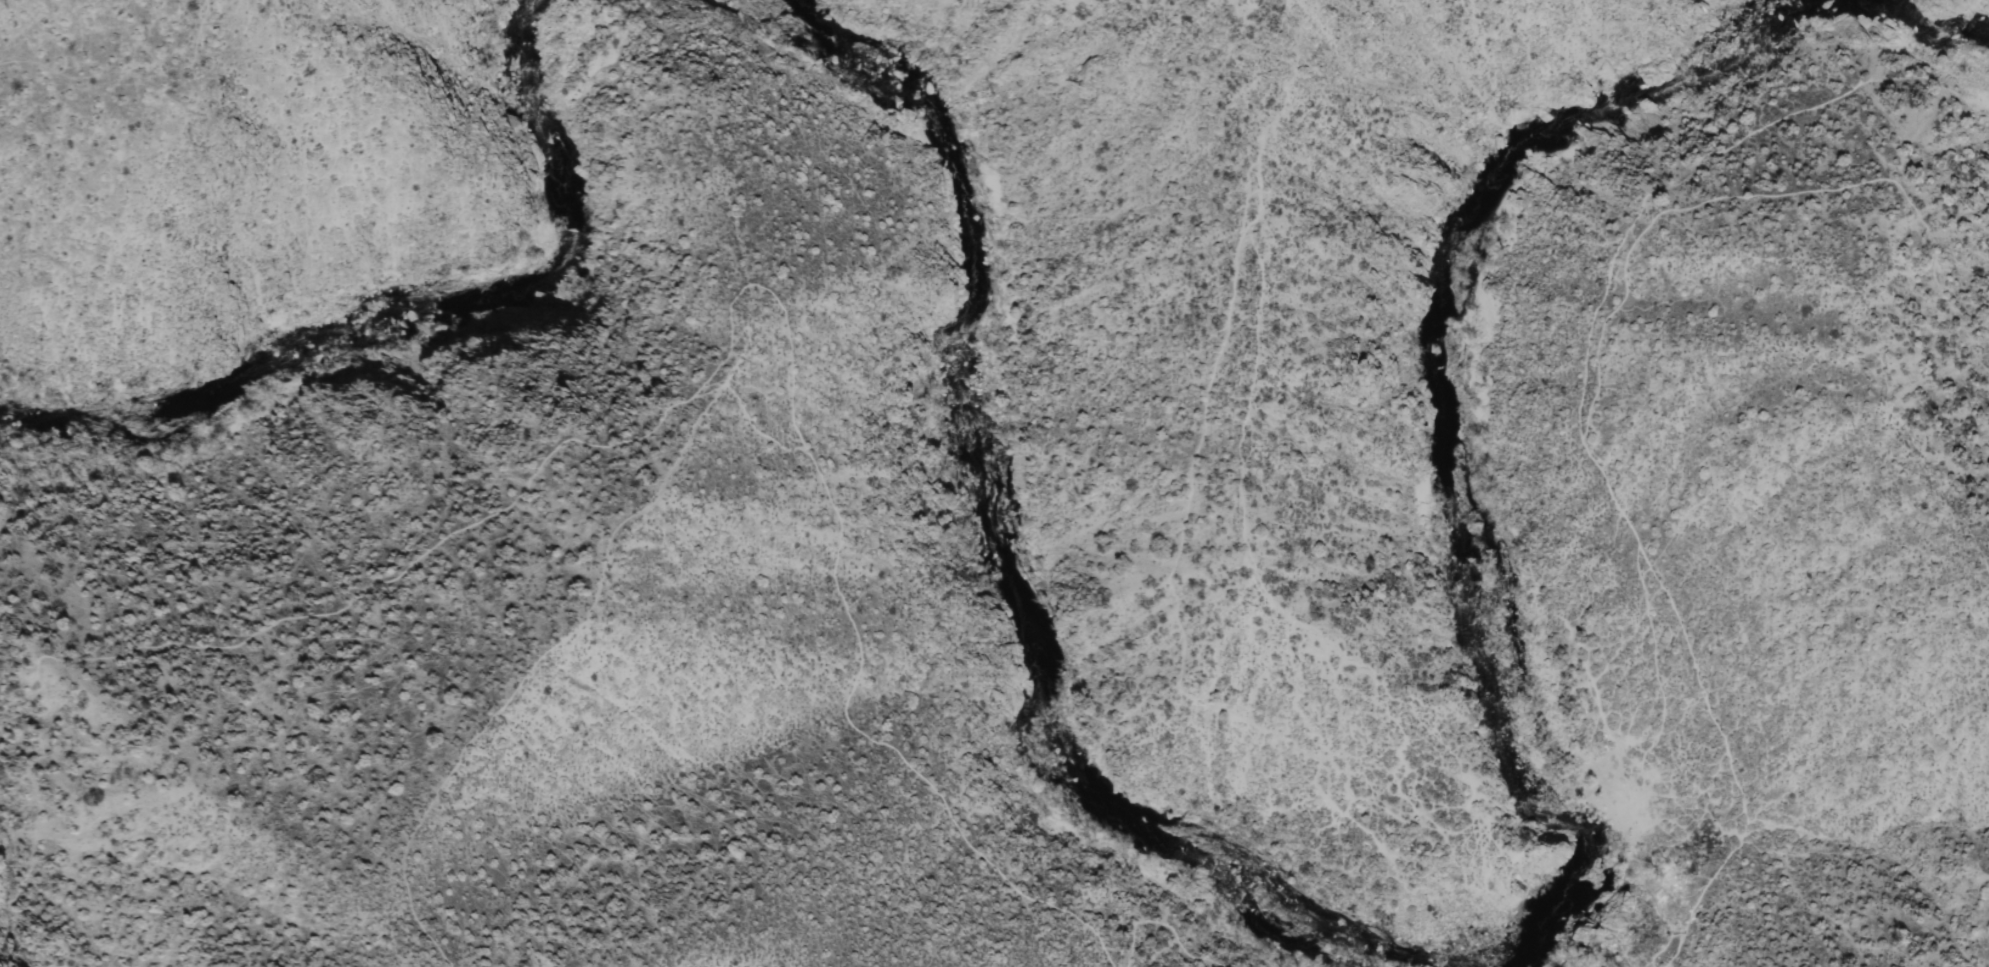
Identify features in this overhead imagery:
road: (1279, 60)
road: (1295, 62)
road: (1072, 184)
road: (1676, 184)
road: (1590, 385)
road: (669, 414)
road: (1171, 582)
road: (1619, 764)
road: (1689, 832)
road: (1176, 923)
road: (1172, 953)

